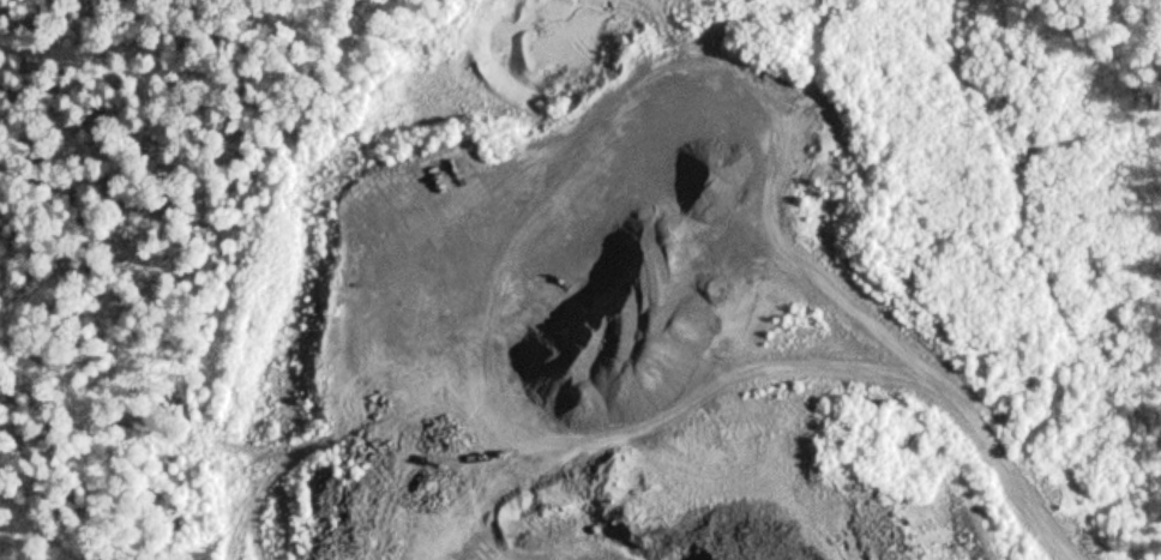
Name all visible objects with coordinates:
road: (1138, 18)
quarry: (563, 300)
road: (961, 420)

